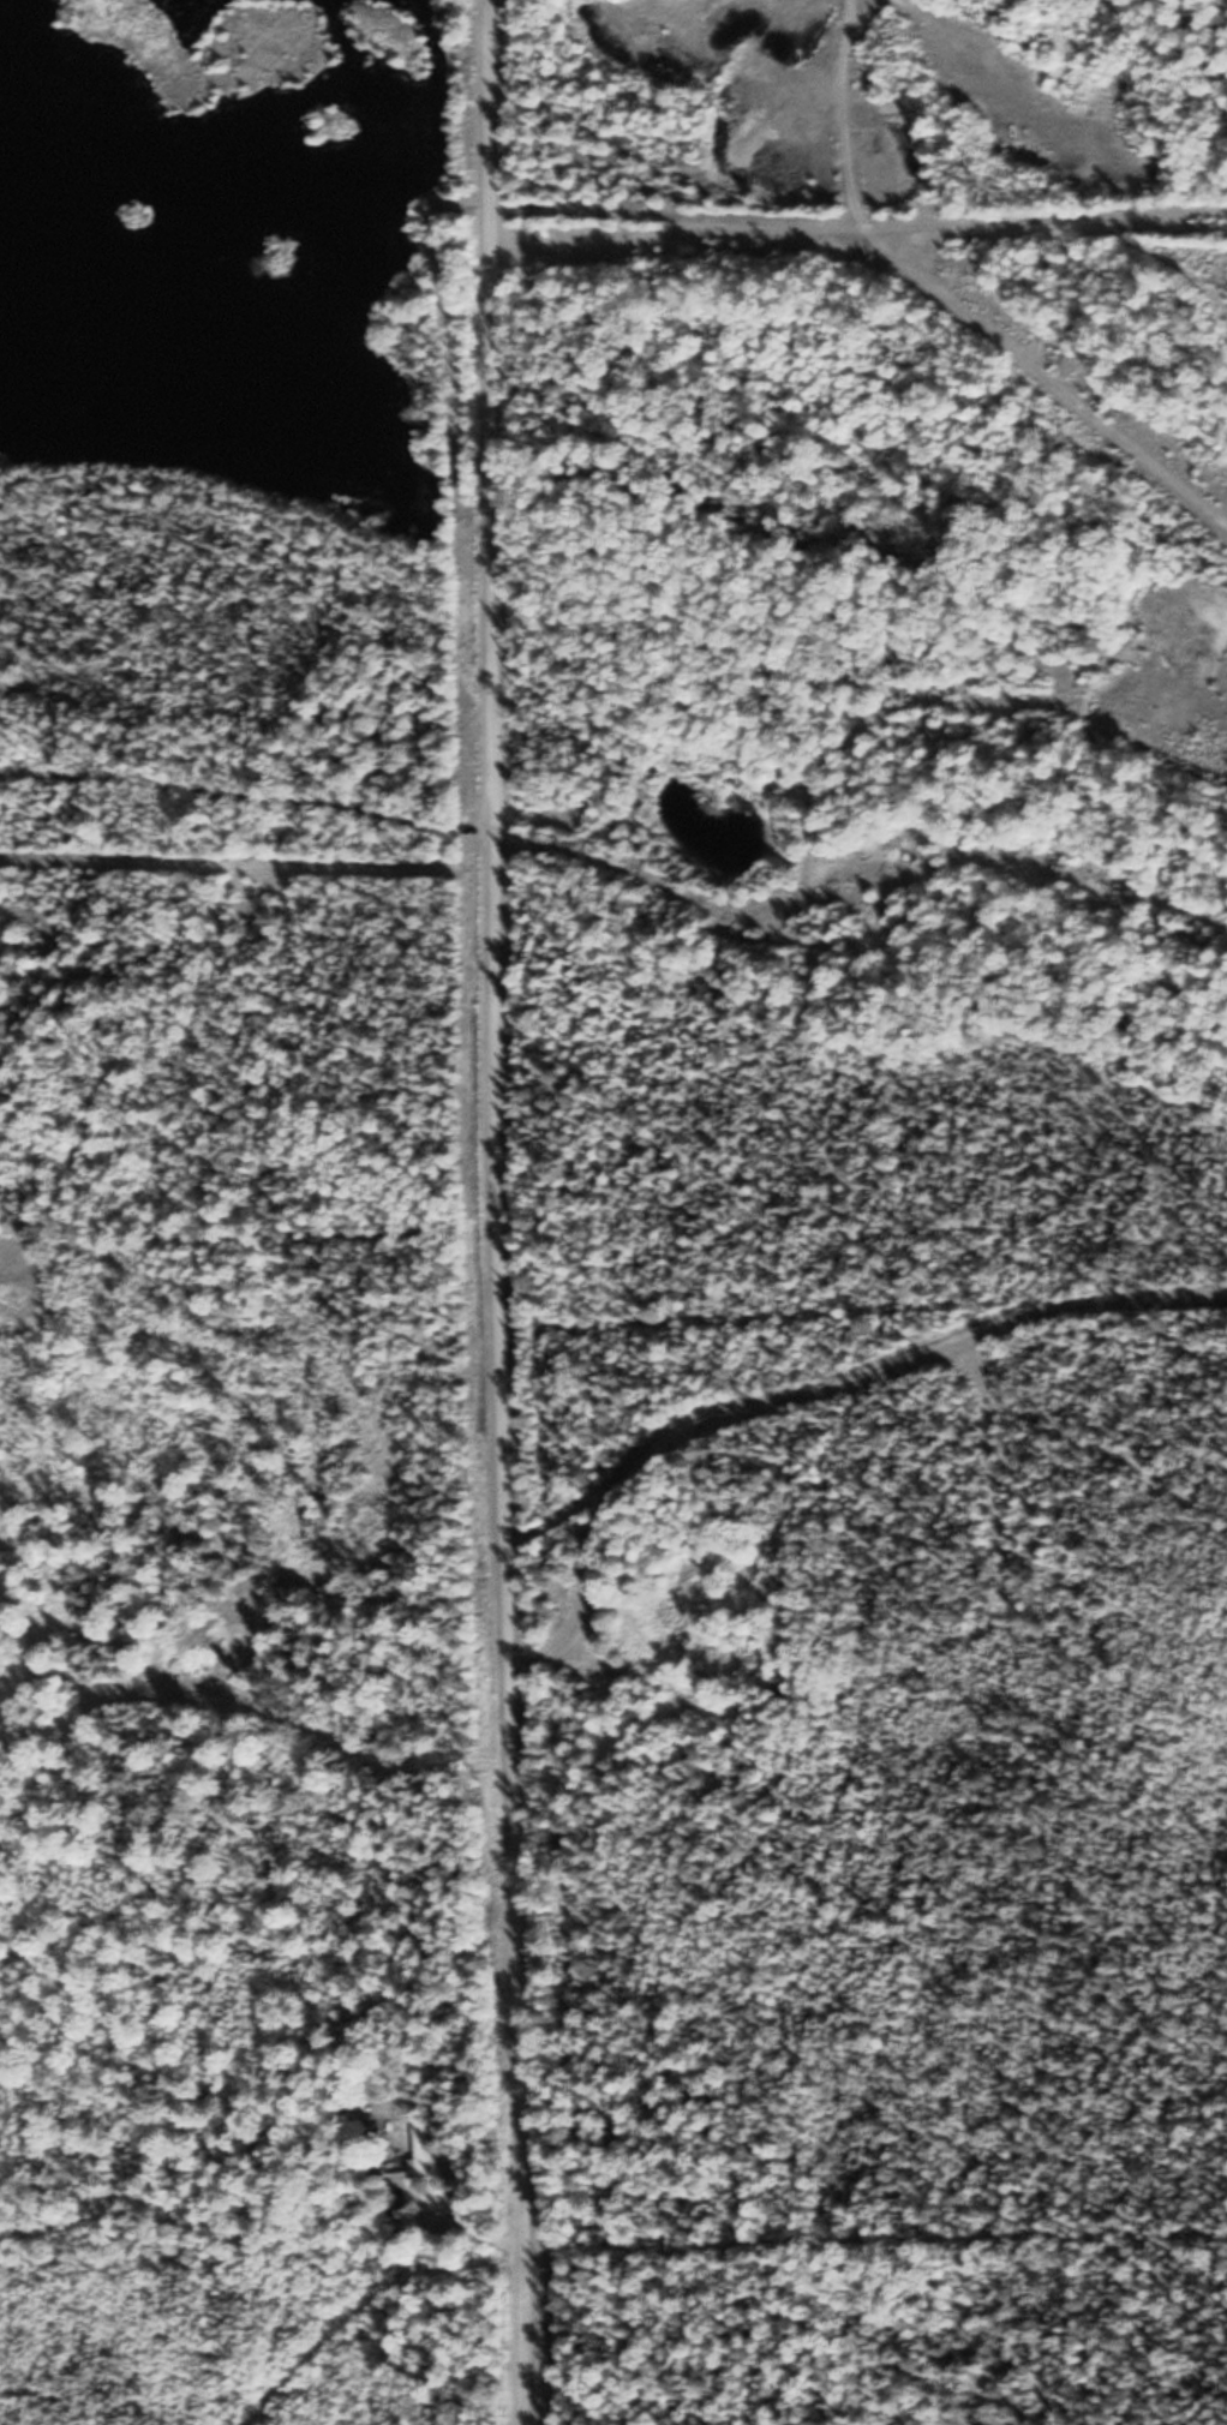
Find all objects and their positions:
road: (858, 229)
road: (249, 791)
road: (499, 1212)
road: (800, 1396)
building: (424, 2150)

